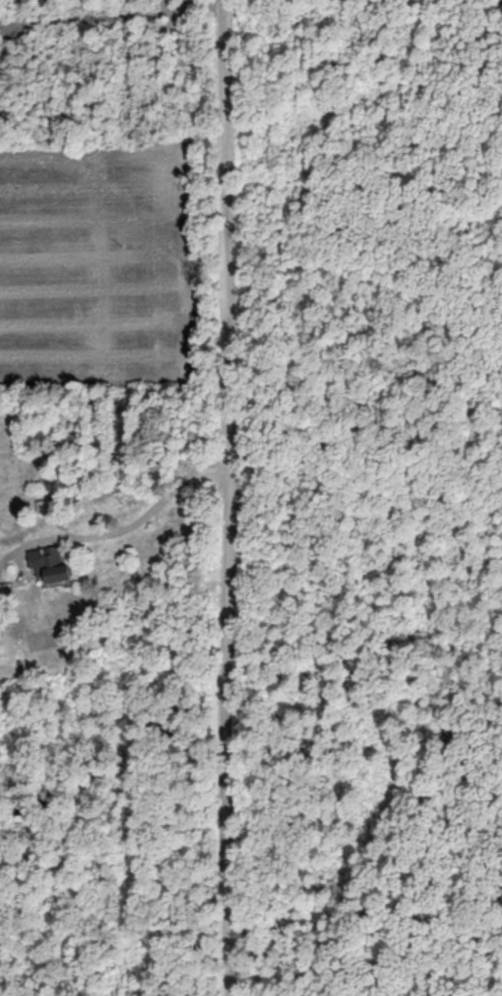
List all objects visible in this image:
road: (229, 498)
road: (123, 531)
building: (49, 566)
road: (22, 577)

